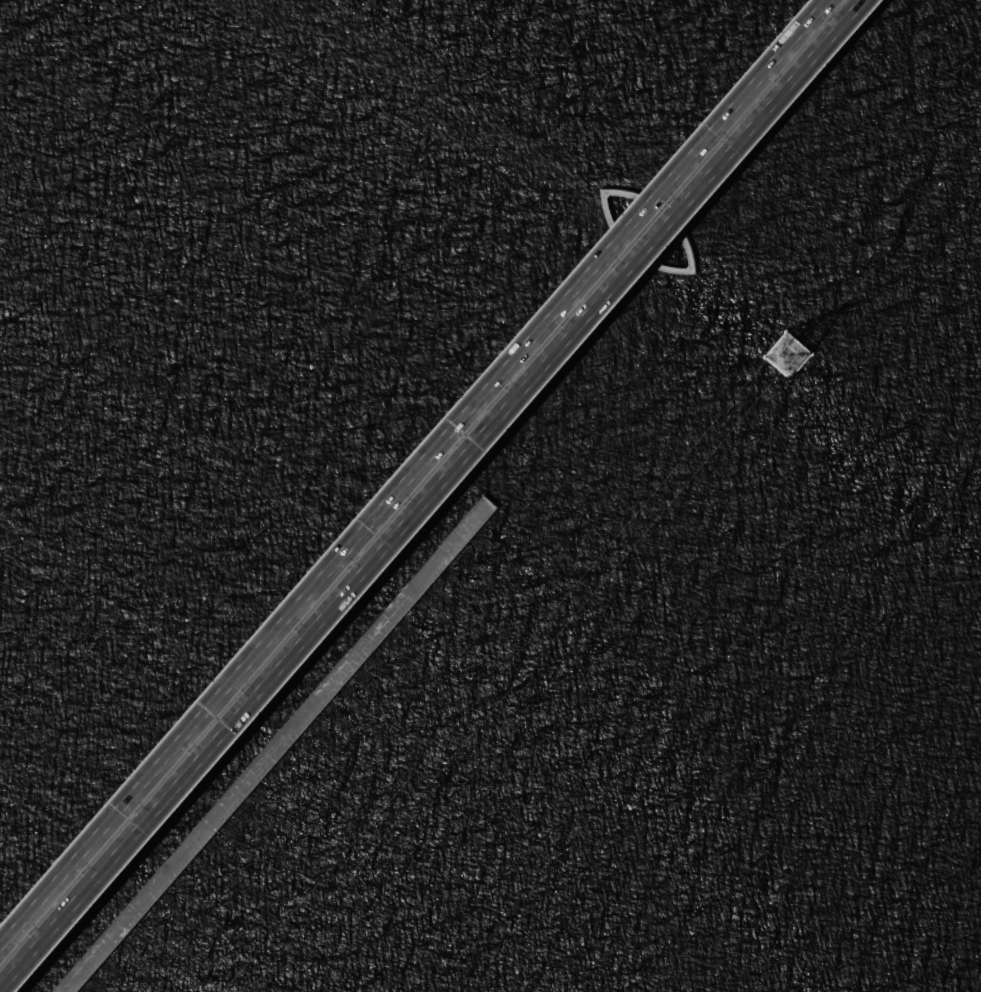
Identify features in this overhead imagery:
pier: (784, 354)
power tower: (790, 357)
road: (413, 475)
road: (431, 496)
pier: (271, 747)
road: (272, 747)

